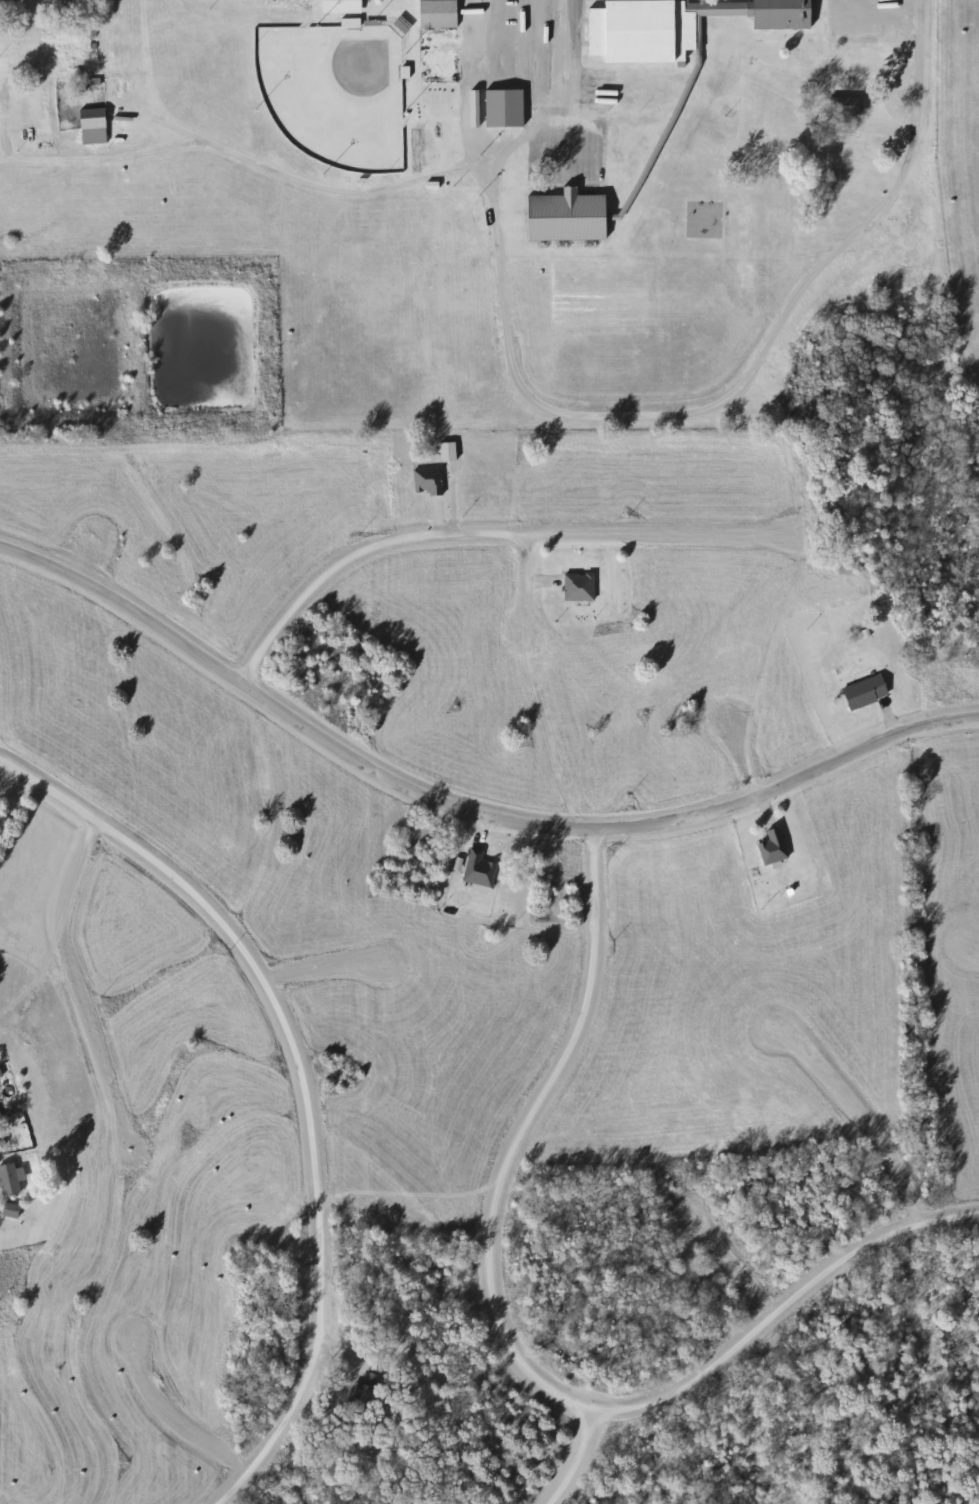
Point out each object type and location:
building: (434, 14)
building: (673, 26)
road: (919, 81)
building: (841, 105)
building: (89, 118)
road: (406, 181)
building: (561, 216)
building: (425, 481)
road: (101, 529)
road: (473, 533)
building: (575, 587)
road: (549, 605)
building: (861, 692)
road: (746, 763)
road: (464, 806)
building: (769, 847)
building: (476, 869)
road: (332, 964)
road: (81, 994)
road: (300, 1081)
road: (857, 1103)
building: (0, 1117)
road: (522, 1128)
building: (12, 1179)
road: (741, 1265)
road: (779, 1307)
road: (169, 1412)
road: (576, 1459)

